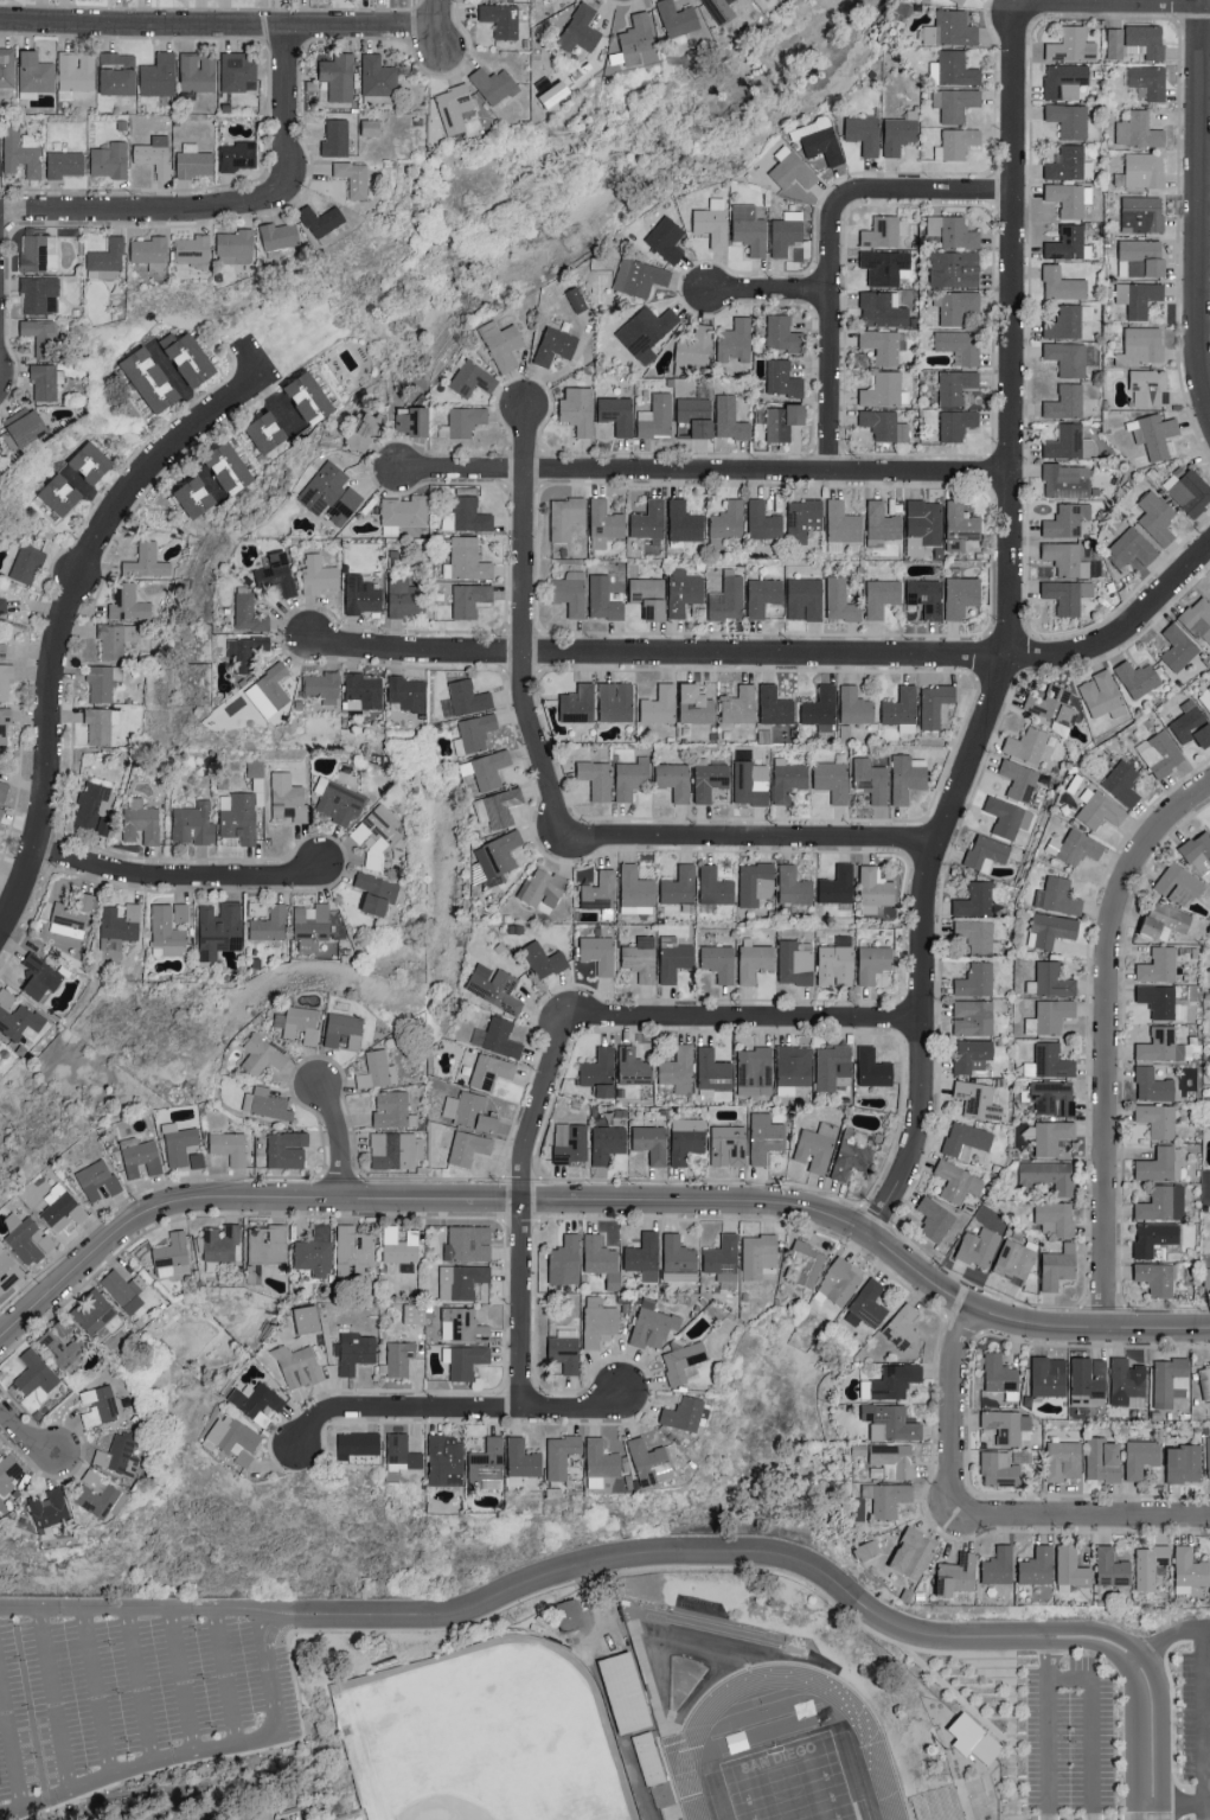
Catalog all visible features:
road: (1159, 0)
building: (961, 1)
road: (1029, 2)
building: (722, 9)
road: (440, 14)
building: (501, 19)
building: (678, 20)
road: (219, 25)
building: (581, 28)
building: (950, 28)
building: (636, 38)
building: (1135, 40)
building: (1073, 45)
building: (7, 65)
building: (953, 69)
building: (34, 71)
building: (76, 71)
building: (198, 71)
building: (237, 71)
building: (117, 72)
building: (159, 75)
building: (338, 75)
building: (378, 77)
building: (1065, 79)
building: (1148, 81)
building: (494, 84)
road: (283, 100)
building: (955, 103)
building: (454, 107)
building: (1069, 120)
building: (370, 127)
building: (1139, 129)
building: (900, 132)
building: (864, 133)
building: (335, 136)
building: (818, 139)
building: (956, 142)
building: (21, 151)
building: (155, 152)
building: (238, 155)
building: (110, 159)
building: (194, 160)
building: (65, 162)
building: (1070, 164)
building: (792, 168)
building: (1142, 170)
building: (354, 177)
building: (1070, 198)
road: (1197, 204)
road: (149, 209)
building: (1142, 213)
building: (321, 219)
building: (712, 221)
building: (749, 228)
building: (953, 230)
building: (787, 231)
building: (882, 231)
building: (280, 235)
building: (666, 238)
building: (1069, 243)
road: (828, 244)
building: (236, 245)
building: (193, 250)
building: (39, 251)
building: (151, 251)
building: (1141, 257)
building: (105, 260)
building: (886, 266)
building: (955, 268)
building: (639, 276)
building: (1062, 283)
road: (767, 290)
building: (39, 293)
building: (1138, 296)
building: (576, 299)
building: (956, 305)
building: (883, 308)
building: (1068, 321)
building: (646, 331)
building: (782, 333)
building: (41, 334)
building: (736, 340)
building: (502, 344)
building: (555, 345)
building: (882, 345)
building: (959, 345)
building: (1141, 346)
building: (693, 347)
building: (188, 357)
building: (1068, 357)
building: (472, 377)
building: (149, 378)
building: (782, 378)
building: (44, 381)
building: (955, 385)
building: (1150, 387)
building: (885, 390)
building: (309, 396)
building: (1065, 402)
building: (578, 409)
building: (617, 413)
building: (696, 414)
building: (657, 416)
building: (730, 419)
building: (411, 420)
building: (466, 420)
building: (782, 421)
building: (956, 423)
building: (885, 424)
building: (23, 427)
building: (365, 429)
building: (265, 432)
building: (1154, 434)
building: (1069, 442)
building: (91, 461)
building: (229, 467)
road: (702, 470)
building: (1067, 480)
building: (1189, 491)
building: (331, 492)
building: (60, 493)
building: (194, 496)
building: (404, 510)
building: (467, 515)
building: (566, 516)
building: (1157, 516)
building: (804, 518)
building: (1067, 519)
building: (763, 521)
building: (649, 522)
building: (685, 522)
building: (728, 522)
building: (604, 523)
building: (882, 524)
building: (923, 524)
building: (843, 525)
building: (961, 525)
building: (1131, 548)
building: (1067, 557)
building: (467, 560)
building: (147, 561)
building: (27, 563)
building: (277, 573)
building: (319, 574)
building: (684, 590)
building: (570, 592)
building: (361, 594)
building: (1067, 594)
building: (405, 595)
building: (763, 595)
building: (805, 595)
building: (961, 595)
building: (649, 596)
building: (882, 596)
building: (926, 596)
building: (469, 599)
building: (603, 599)
building: (726, 599)
building: (840, 600)
building: (2, 605)
building: (249, 613)
building: (1199, 618)
road: (63, 621)
road: (521, 624)
road: (1121, 626)
road: (1007, 632)
building: (116, 639)
building: (1178, 647)
building: (1, 649)
building: (247, 651)
road: (658, 652)
building: (1139, 677)
building: (6, 679)
building: (103, 682)
building: (274, 687)
building: (322, 687)
building: (364, 691)
building: (408, 692)
building: (1102, 695)
building: (1205, 697)
building: (466, 698)
building: (615, 701)
building: (578, 703)
building: (660, 704)
building: (696, 704)
building: (740, 704)
building: (775, 705)
building: (854, 705)
building: (935, 705)
building: (821, 708)
building: (1054, 708)
building: (902, 709)
building: (101, 723)
building: (1191, 724)
building: (5, 726)
building: (474, 733)
building: (1026, 743)
building: (1160, 753)
building: (487, 768)
building: (632, 777)
building: (908, 777)
building: (596, 778)
building: (257, 779)
building: (788, 779)
building: (833, 779)
building: (871, 779)
building: (1019, 779)
building: (674, 780)
building: (710, 780)
building: (1122, 783)
building: (749, 784)
building: (289, 802)
building: (338, 802)
building: (498, 806)
building: (94, 807)
building: (1099, 809)
building: (1, 812)
building: (238, 816)
building: (1009, 817)
building: (141, 820)
building: (193, 823)
building: (378, 834)
road: (744, 836)
building: (1075, 847)
building: (1198, 851)
building: (986, 852)
building: (498, 856)
road: (178, 877)
building: (756, 882)
building: (1179, 885)
building: (680, 886)
building: (716, 886)
building: (794, 886)
building: (838, 887)
building: (635, 888)
building: (543, 889)
building: (875, 889)
building: (600, 890)
building: (377, 893)
building: (1057, 896)
building: (975, 900)
building: (181, 911)
building: (73, 915)
building: (1165, 920)
building: (121, 921)
building: (270, 924)
building: (312, 925)
building: (220, 930)
building: (1051, 930)
building: (167, 931)
building: (977, 934)
building: (111, 943)
building: (598, 953)
building: (641, 958)
building: (674, 958)
building: (544, 959)
building: (719, 962)
building: (754, 962)
building: (795, 962)
building: (873, 963)
building: (836, 965)
building: (1159, 965)
building: (40, 977)
building: (977, 979)
building: (1050, 981)
building: (504, 991)
building: (1161, 1001)
road: (743, 1016)
building: (1050, 1016)
building: (18, 1017)
building: (973, 1017)
building: (300, 1022)
building: (344, 1029)
road: (1105, 1035)
building: (498, 1036)
building: (1160, 1045)
building: (972, 1054)
building: (262, 1055)
building: (1049, 1061)
building: (832, 1065)
building: (633, 1066)
building: (793, 1067)
building: (678, 1068)
building: (377, 1069)
building: (491, 1071)
building: (873, 1071)
building: (600, 1072)
building: (755, 1072)
building: (713, 1074)
building: (1153, 1085)
building: (1054, 1098)
building: (978, 1100)
building: (265, 1103)
building: (392, 1110)
building: (468, 1110)
building: (1158, 1119)
building: (1049, 1136)
building: (766, 1137)
road: (338, 1139)
building: (686, 1139)
building: (966, 1139)
building: (651, 1142)
building: (179, 1143)
building: (570, 1143)
building: (607, 1143)
building: (729, 1145)
building: (230, 1147)
building: (815, 1147)
building: (468, 1148)
building: (287, 1149)
building: (396, 1150)
building: (851, 1154)
building: (141, 1156)
building: (197, 1160)
building: (1160, 1164)
building: (1050, 1175)
building: (98, 1180)
building: (958, 1181)
road: (597, 1200)
building: (1163, 1203)
road: (520, 1207)
building: (62, 1208)
building: (935, 1218)
building: (1056, 1218)
building: (27, 1238)
building: (222, 1243)
building: (469, 1243)
building: (268, 1244)
building: (401, 1247)
building: (979, 1247)
building: (353, 1250)
building: (142, 1251)
building: (315, 1251)
building: (758, 1254)
building: (173, 1256)
building: (600, 1256)
building: (645, 1256)
building: (679, 1259)
building: (565, 1260)
building: (723, 1260)
building: (1014, 1262)
building: (805, 1264)
building: (1058, 1266)
building: (8, 1271)
building: (1206, 1277)
building: (1155, 1278)
building: (461, 1281)
building: (838, 1283)
building: (123, 1290)
building: (868, 1305)
building: (92, 1311)
building: (415, 1314)
building: (307, 1318)
building: (598, 1322)
building: (462, 1326)
building: (653, 1326)
building: (902, 1327)
building: (60, 1343)
building: (565, 1349)
building: (354, 1352)
building: (399, 1358)
building: (465, 1360)
building: (684, 1362)
building: (299, 1366)
building: (36, 1373)
building: (999, 1373)
building: (1049, 1375)
building: (1205, 1379)
building: (1089, 1380)
building: (1170, 1380)
building: (891, 1381)
building: (1127, 1381)
building: (256, 1400)
building: (98, 1405)
road: (454, 1406)
building: (685, 1415)
road: (954, 1418)
building: (891, 1422)
building: (1009, 1425)
building: (1068, 1435)
road: (26, 1437)
building: (232, 1438)
building: (358, 1445)
building: (402, 1454)
building: (119, 1455)
building: (561, 1455)
building: (1208, 1455)
building: (1141, 1456)
building: (1103, 1457)
building: (894, 1458)
building: (1063, 1460)
building: (446, 1461)
building: (521, 1461)
building: (648, 1461)
building: (601, 1462)
building: (1184, 1462)
building: (487, 1464)
building: (999, 1468)
building: (8, 1471)
building: (98, 1495)
building: (886, 1497)
building: (49, 1507)
road: (1090, 1520)
building: (913, 1552)
road: (658, 1556)
building: (1150, 1564)
building: (998, 1565)
building: (1037, 1565)
road: (655, 1566)
building: (1110, 1566)
building: (1070, 1569)
building: (1190, 1569)
building: (956, 1573)
building: (568, 1615)
road: (1204, 1627)
road: (1164, 1637)
road: (1043, 1658)
road: (1205, 1669)
road: (224, 1673)
road: (271, 1677)
road: (180, 1678)
road: (139, 1682)
road: (94, 1687)
parking lot: (134, 1687)
road: (52, 1692)
road: (296, 1692)
road: (958, 1694)
road: (1205, 1713)
parking lot: (1195, 1716)
building: (633, 1717)
road: (1173, 1719)
road: (1201, 1723)
road: (1089, 1725)
road: (8, 1732)
road: (1011, 1736)
park: (485, 1737)
track: (781, 1737)
building: (974, 1737)
parking lot: (1069, 1741)
road: (188, 1745)
road: (1044, 1750)
road: (1205, 1757)
road: (152, 1771)
park: (789, 1782)
road: (1205, 1799)
road: (1173, 1800)
building: (937, 1806)

